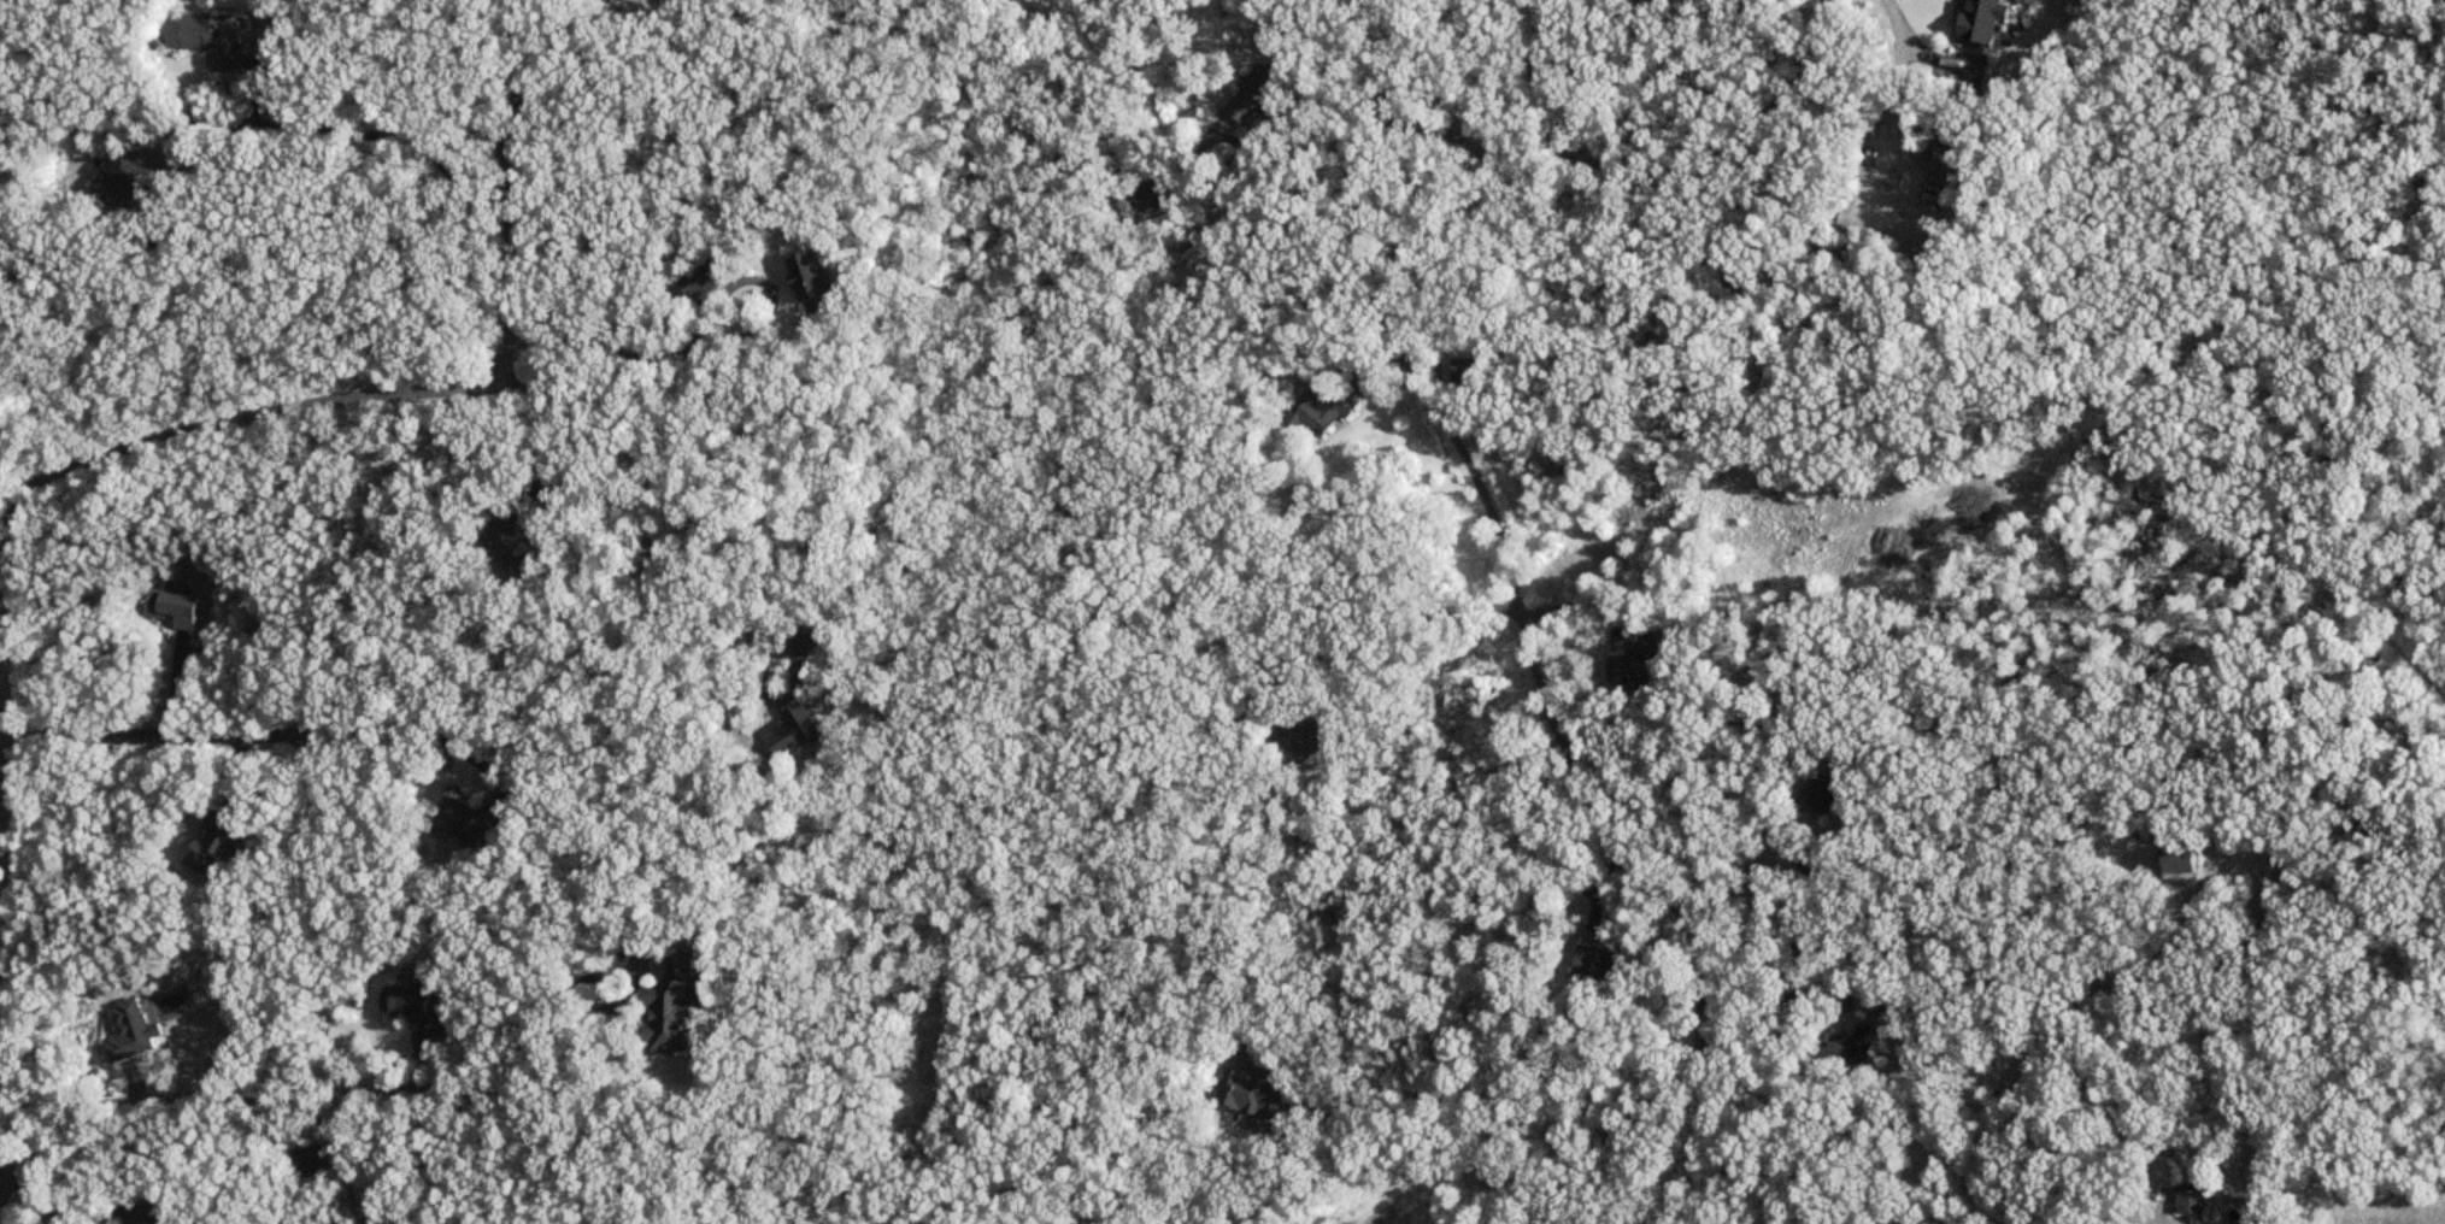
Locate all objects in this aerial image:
road: (1902, 17)
building: (217, 40)
building: (1260, 93)
road: (362, 134)
road: (1632, 170)
building: (123, 183)
building: (807, 276)
building: (703, 288)
road: (647, 351)
building: (1323, 413)
road: (133, 443)
road: (540, 451)
road: (642, 505)
building: (511, 548)
road: (1576, 602)
building: (170, 610)
road: (1391, 629)
road: (1523, 648)
building: (1636, 664)
building: (788, 735)
road: (237, 737)
building: (1298, 742)
building: (1821, 795)
building: (466, 823)
building: (210, 847)
building: (1805, 858)
building: (2177, 861)
road: (1741, 883)
building: (1503, 948)
building: (1599, 970)
building: (411, 1007)
building: (666, 1010)
road: (1818, 1018)
road: (2062, 1018)
building: (128, 1034)
building: (1847, 1049)
building: (1248, 1095)
road: (330, 1096)
building: (307, 1158)
road: (1282, 1178)
building: (2191, 1201)
building: (145, 1213)

